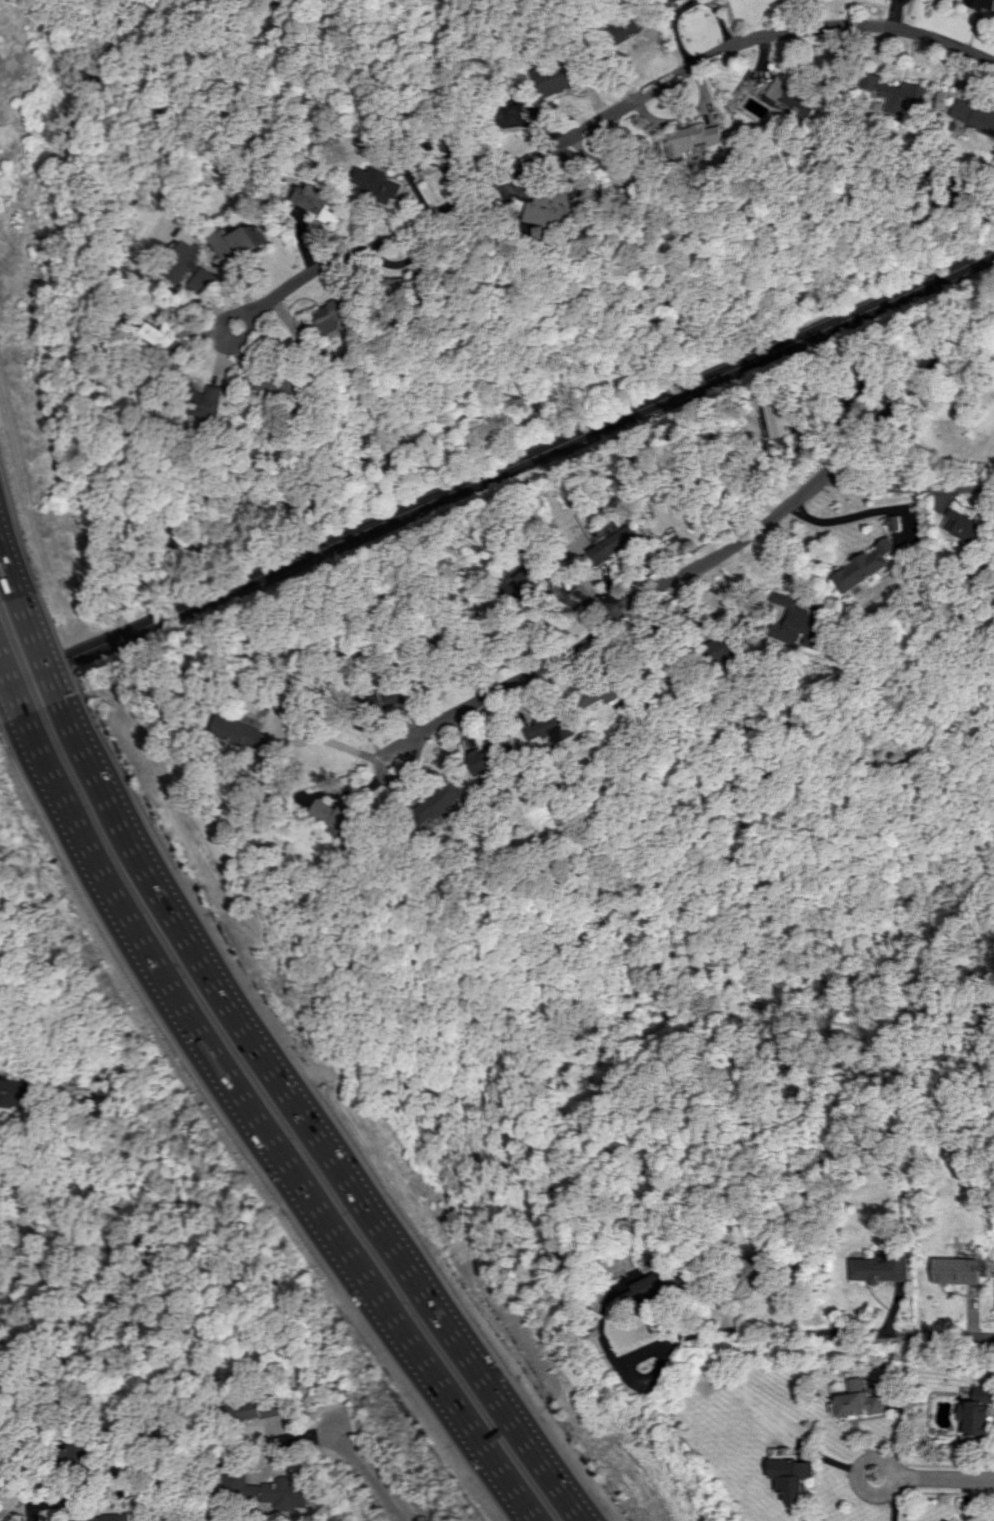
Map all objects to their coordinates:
building: (670, 1)
road: (685, 3)
building: (982, 4)
road: (729, 21)
park: (117, 25)
building: (559, 77)
building: (897, 95)
building: (790, 97)
road: (608, 112)
building: (973, 115)
building: (514, 116)
building: (692, 139)
building: (378, 186)
building: (324, 202)
building: (550, 209)
building: (238, 244)
building: (191, 270)
building: (336, 315)
road: (223, 322)
building: (163, 335)
building: (280, 382)
building: (215, 404)
building: (779, 422)
road: (497, 470)
road: (907, 485)
road: (839, 517)
building: (964, 527)
building: (619, 539)
road: (725, 549)
building: (866, 566)
road: (8, 572)
building: (517, 581)
building: (799, 624)
building: (723, 649)
road: (33, 651)
building: (664, 667)
building: (616, 690)
road: (9, 691)
building: (386, 698)
building: (548, 726)
building: (241, 734)
road: (308, 738)
building: (487, 757)
road: (386, 778)
building: (444, 799)
building: (337, 817)
building: (12, 1094)
road: (288, 1126)
road: (248, 1133)
building: (880, 1267)
building: (758, 1268)
building: (956, 1270)
building: (646, 1286)
road: (856, 1335)
road: (669, 1338)
building: (858, 1401)
building: (255, 1410)
building: (978, 1413)
building: (78, 1453)
road: (184, 1467)
road: (372, 1474)
building: (794, 1477)
road: (949, 1477)
road: (861, 1478)
building: (270, 1491)
road: (15, 1511)
building: (111, 1518)
building: (953, 1520)

